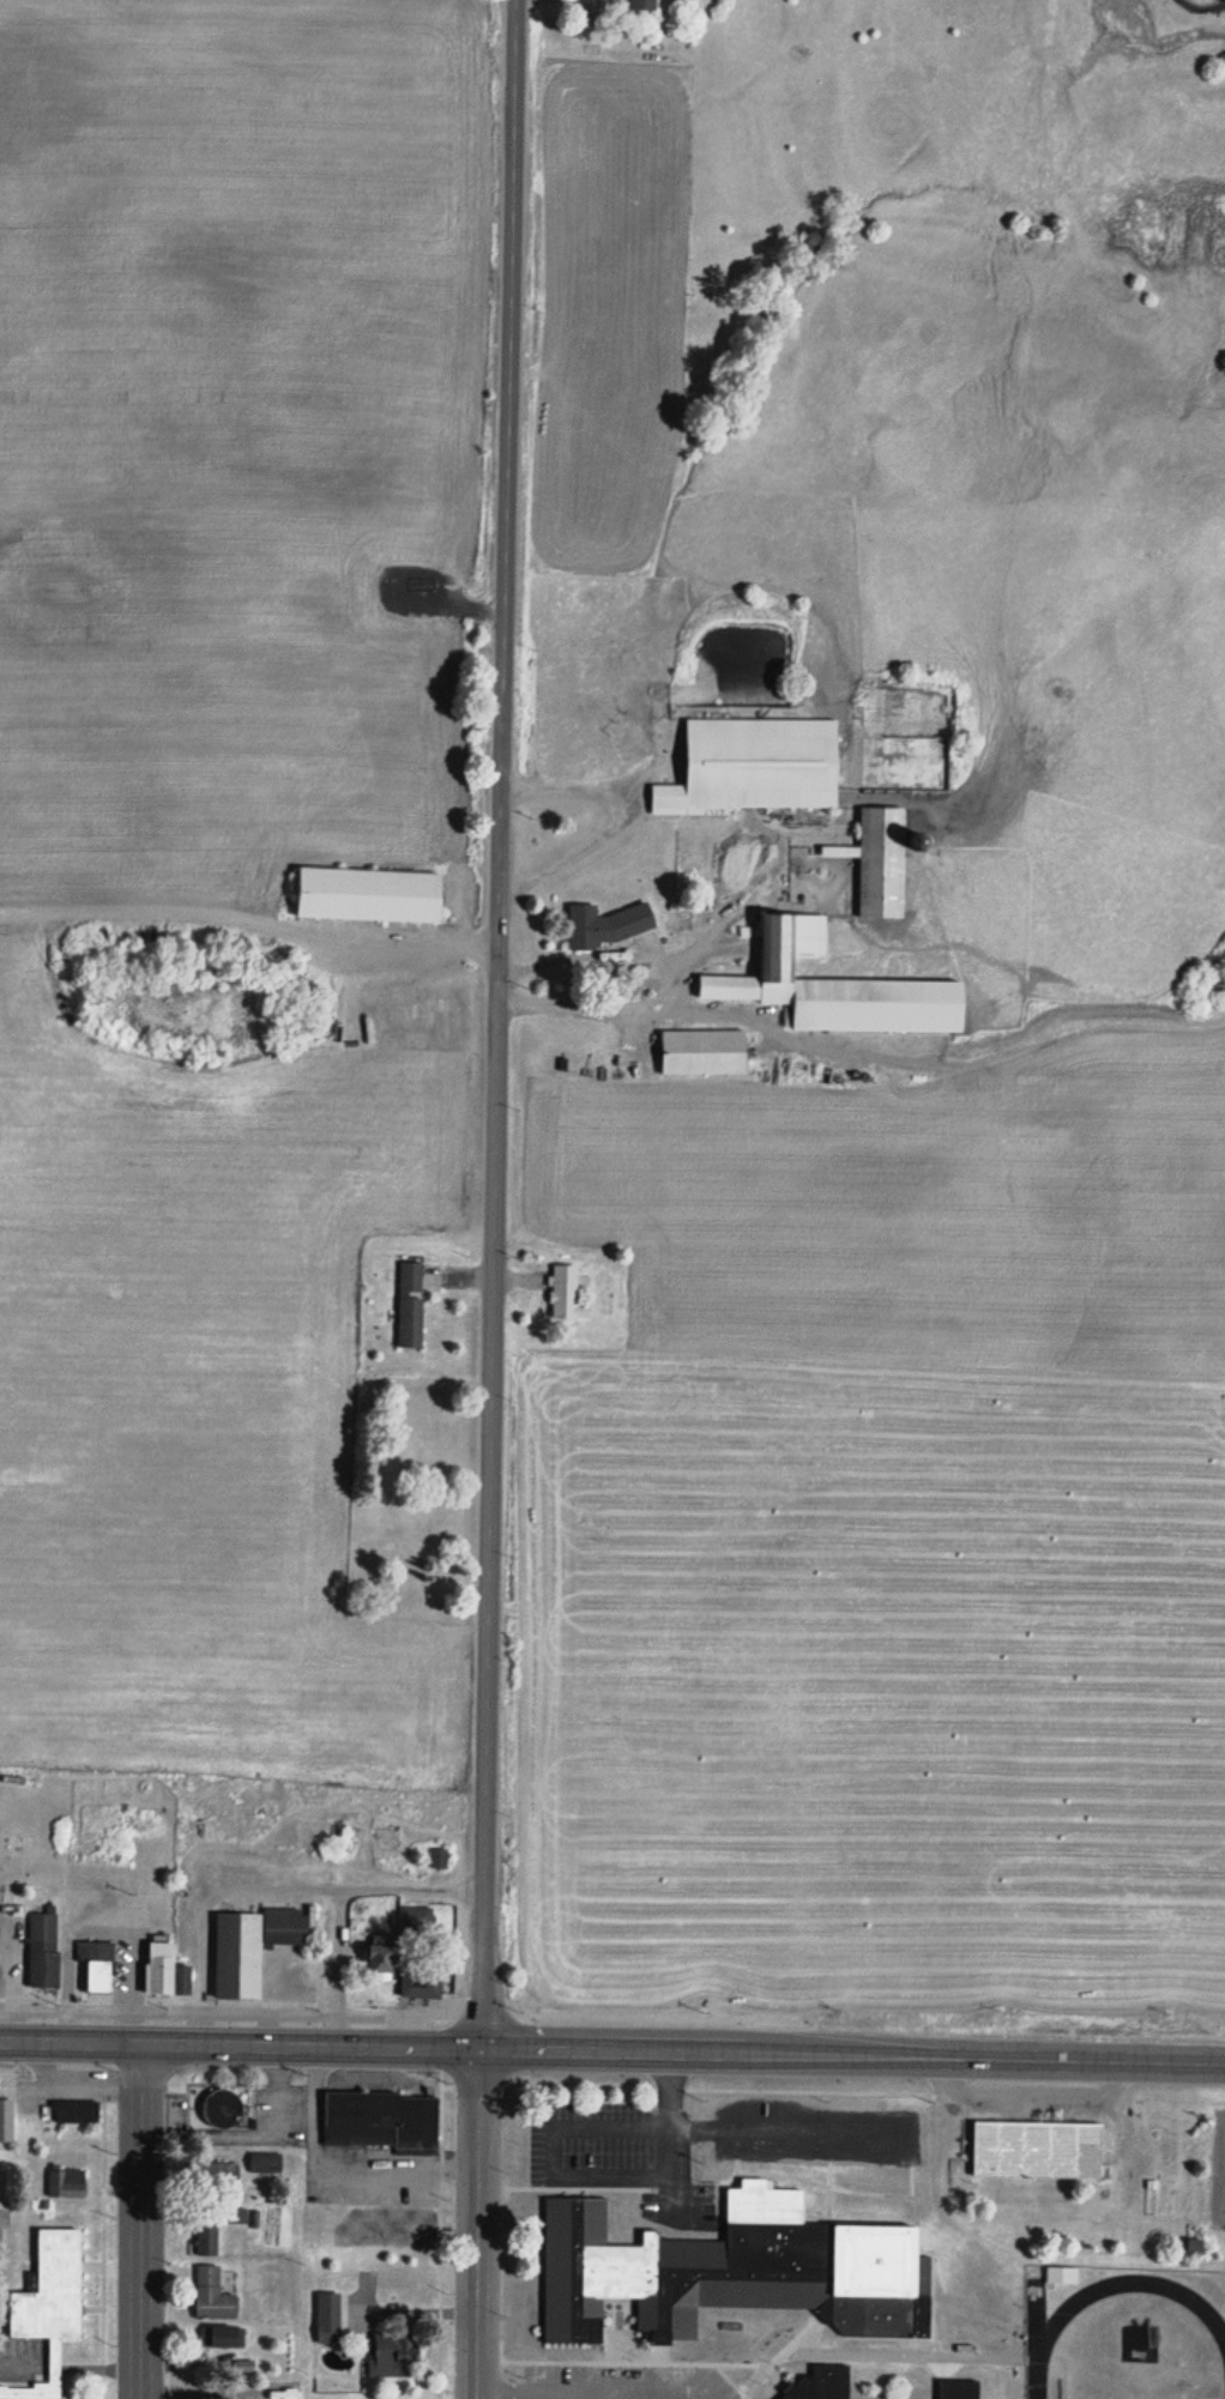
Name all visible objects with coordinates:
building: (644, 5)
road: (505, 585)
building: (755, 768)
building: (882, 863)
building: (372, 895)
building: (607, 926)
building: (837, 987)
building: (705, 1052)
building: (567, 1294)
building: (411, 1305)
building: (410, 1564)
road: (488, 1608)
building: (437, 1859)
building: (418, 1922)
building: (234, 1945)
building: (44, 1951)
building: (155, 1957)
building: (384, 1959)
building: (99, 1966)
building: (422, 1982)
road: (611, 2049)
building: (224, 2107)
building: (77, 2113)
building: (380, 2116)
building: (6, 2120)
building: (1030, 2129)
building: (266, 2163)
building: (218, 2171)
building: (67, 2183)
road: (134, 2218)
road: (479, 2223)
building: (215, 2226)
building: (370, 2232)
building: (732, 2268)
building: (1062, 2276)
track: (1129, 2277)
building: (400, 2278)
building: (53, 2284)
building: (213, 2295)
track: (1030, 2306)
building: (328, 2321)
building: (227, 2337)
road: (906, 2346)
building: (394, 2353)
road: (656, 2355)
track: (1031, 2365)
building: (821, 2383)
building: (958, 2387)
building: (26, 2388)

